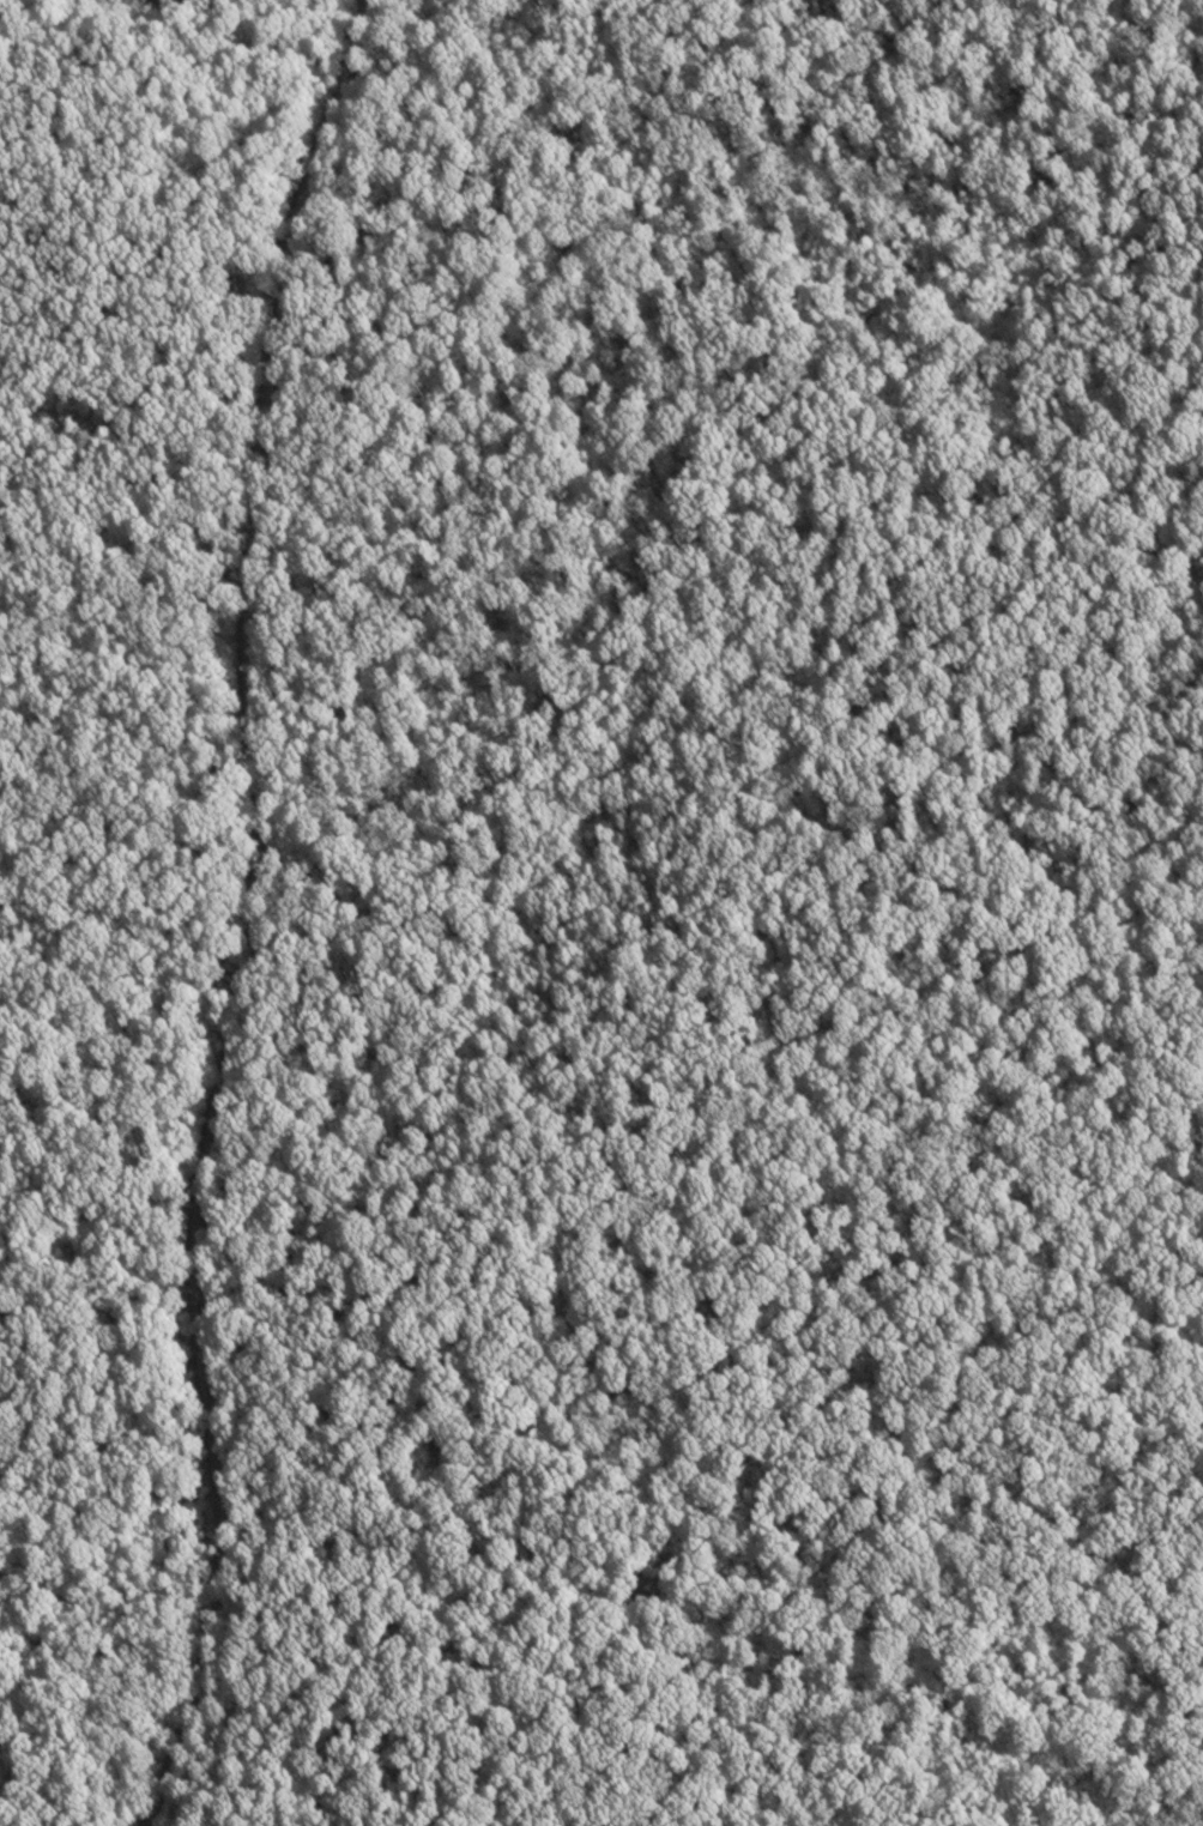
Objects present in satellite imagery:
road: (248, 914)

